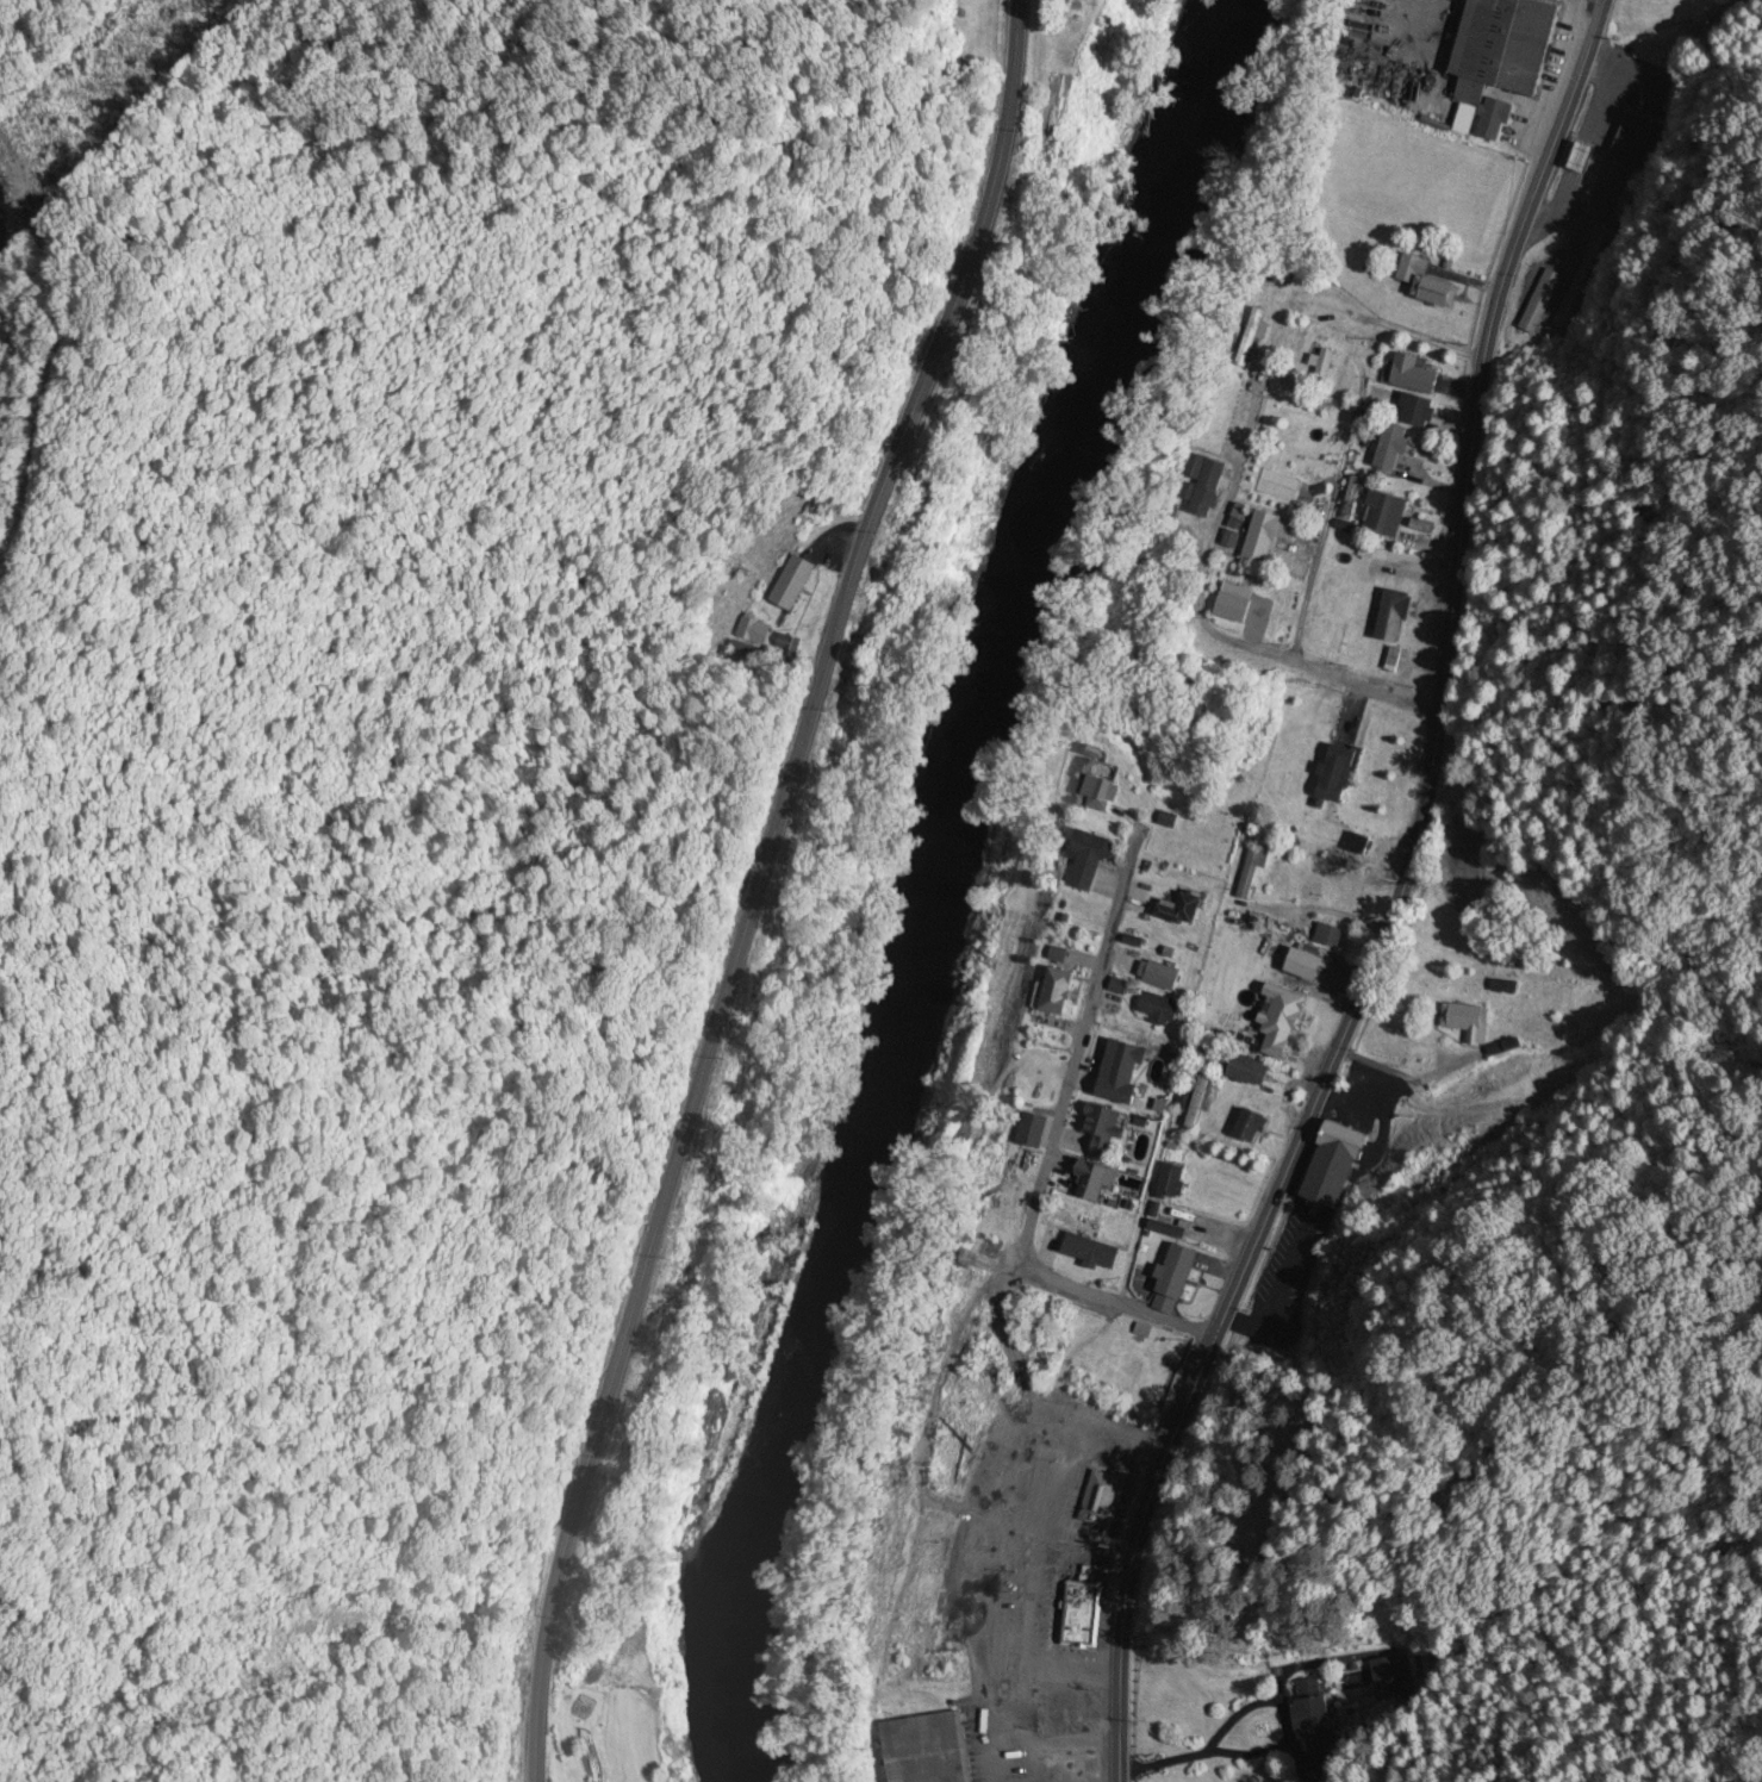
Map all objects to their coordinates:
building: (1088, 0)
building: (1509, 43)
building: (1484, 120)
building: (1632, 142)
power tower: (13, 180)
building: (1428, 282)
building: (1582, 283)
building: (1542, 301)
building: (1251, 338)
building: (1417, 375)
building: (1419, 411)
building: (1394, 448)
building: (1207, 486)
building: (1389, 515)
road: (1296, 534)
building: (1265, 537)
building: (793, 582)
road: (1193, 599)
building: (1395, 616)
building: (1338, 773)
building: (1101, 789)
building: (1359, 845)
building: (1088, 849)
building: (1252, 871)
river: (947, 877)
road: (770, 890)
road: (1391, 902)
building: (1182, 910)
building: (1328, 936)
building: (1307, 965)
building: (1163, 977)
building: (1059, 992)
building: (1159, 1009)
building: (1283, 1021)
building: (1468, 1023)
building: (1251, 1071)
building: (1122, 1073)
building: (1196, 1104)
building: (1252, 1127)
building: (1103, 1129)
road: (1051, 1147)
building: (1333, 1167)
building: (1175, 1180)
building: (1095, 1182)
building: (1168, 1230)
building: (1175, 1279)
building: (1098, 1500)
building: (1081, 1616)
building: (1390, 1680)
building: (1313, 1716)
building: (927, 1750)

